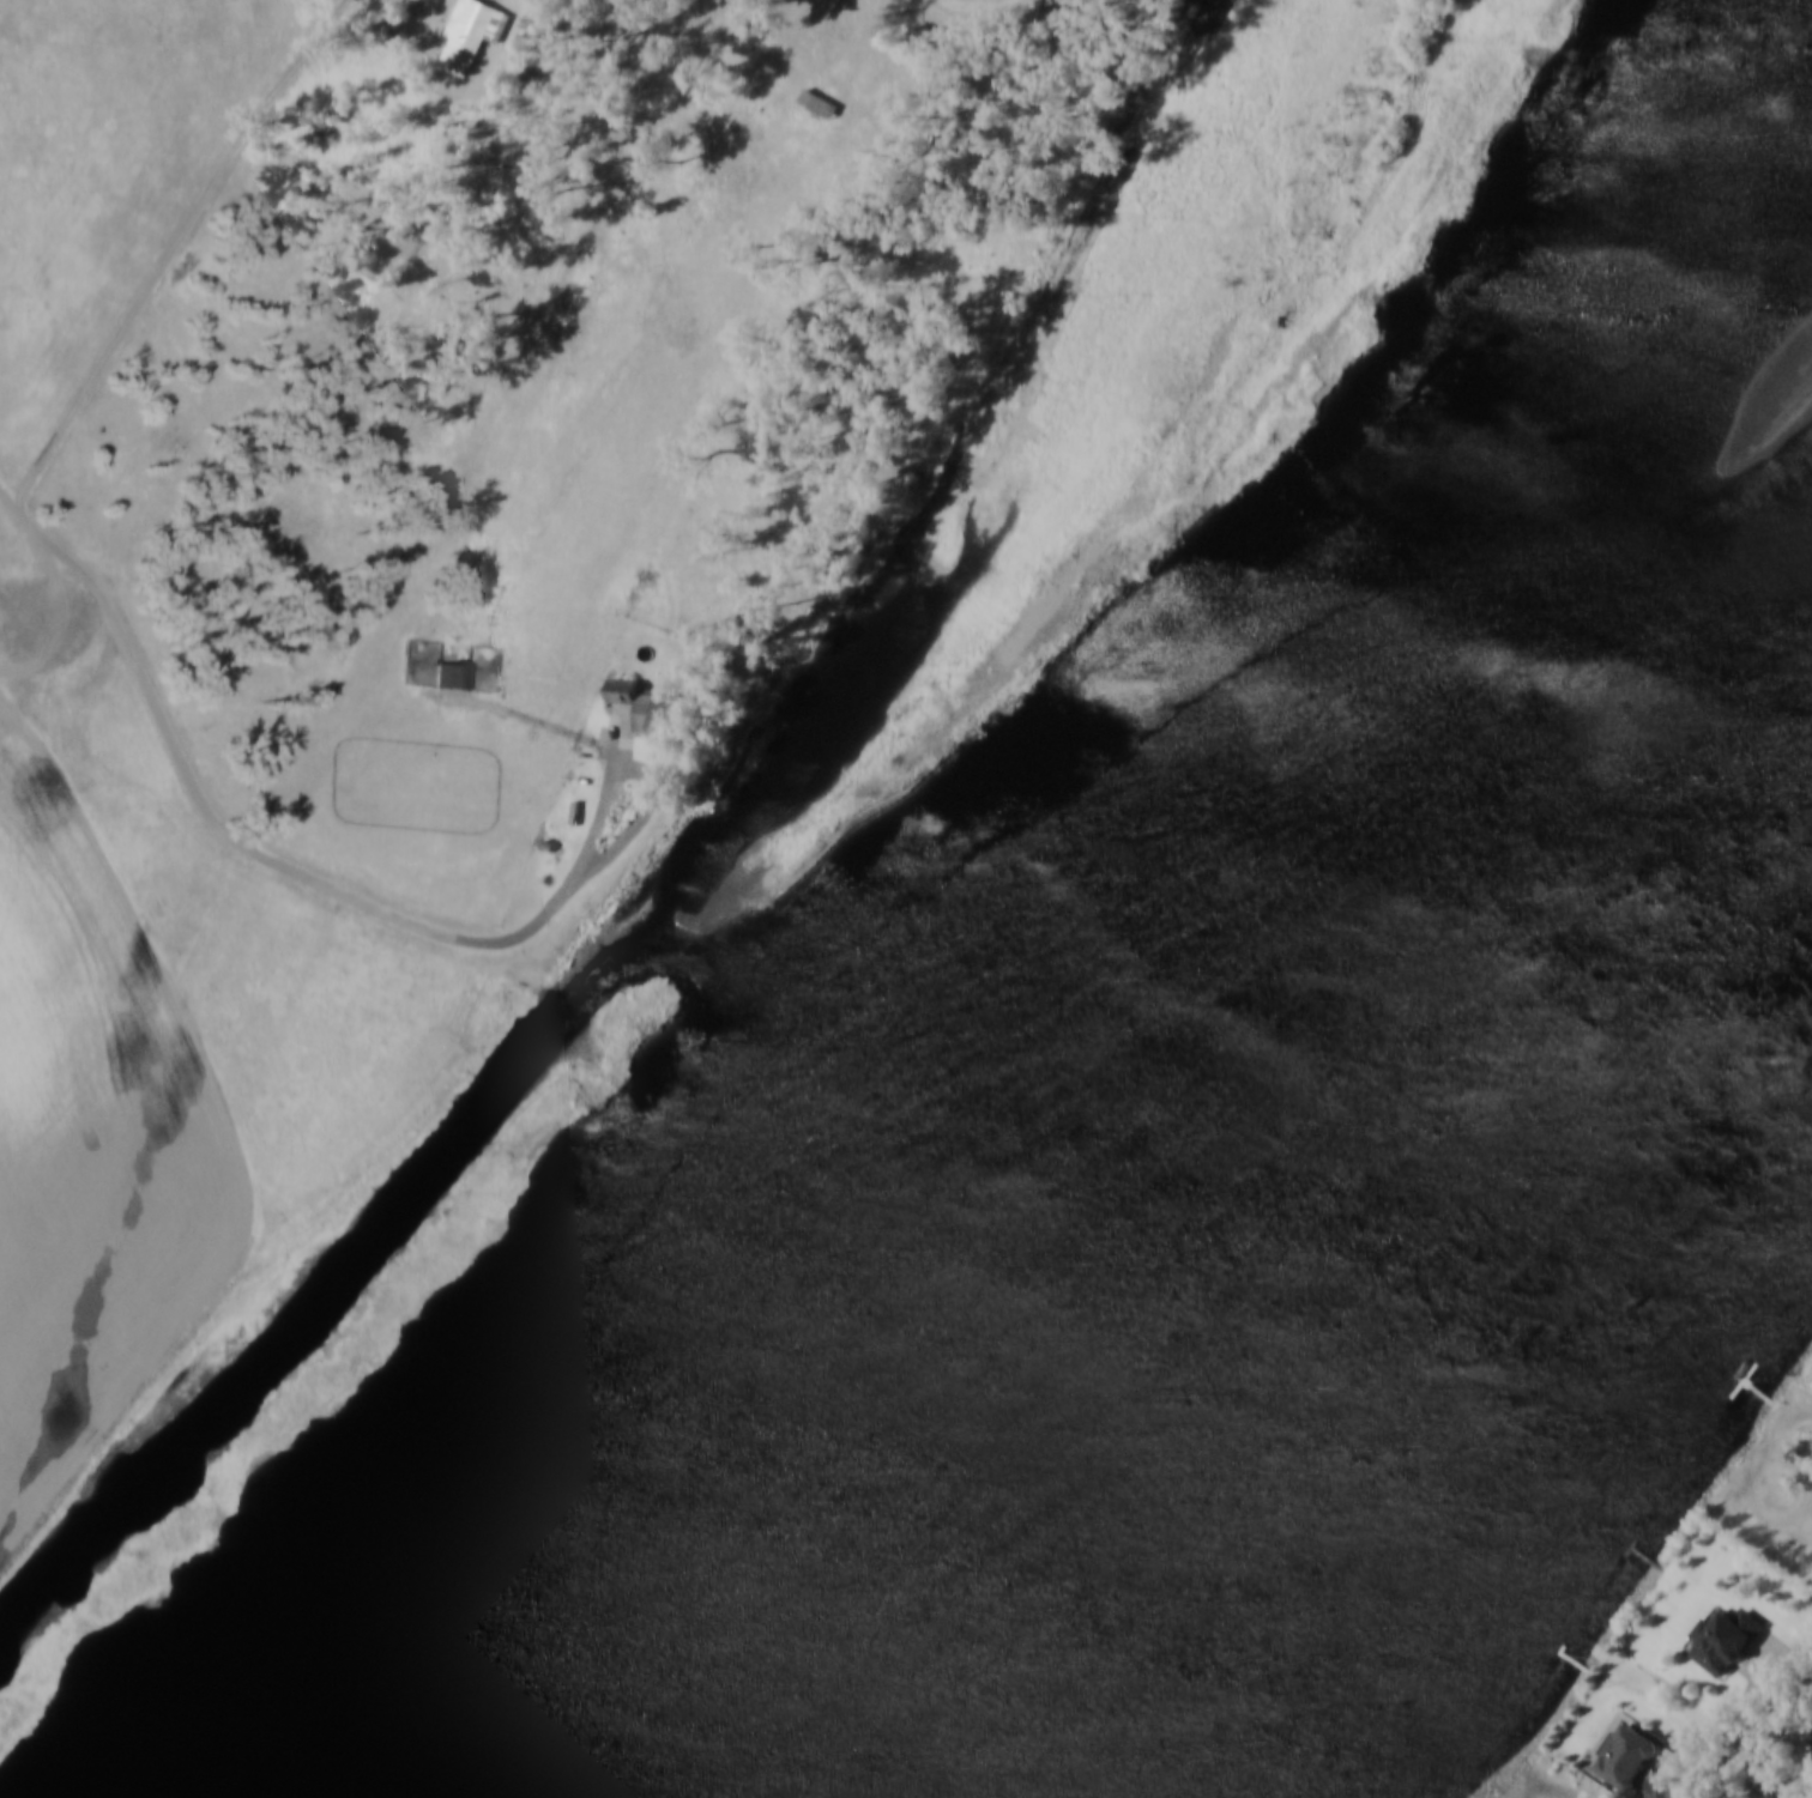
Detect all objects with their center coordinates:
building: (1070, 8)
road: (977, 12)
building: (472, 32)
building: (819, 101)
road: (170, 248)
building: (451, 673)
building: (652, 709)
road: (146, 793)
river: (1518, 1409)
road: (1810, 1412)
building: (1725, 1642)
road: (1742, 1708)
building: (1810, 1737)
road: (1713, 1758)
building: (1627, 1761)
building: (1661, 1790)

